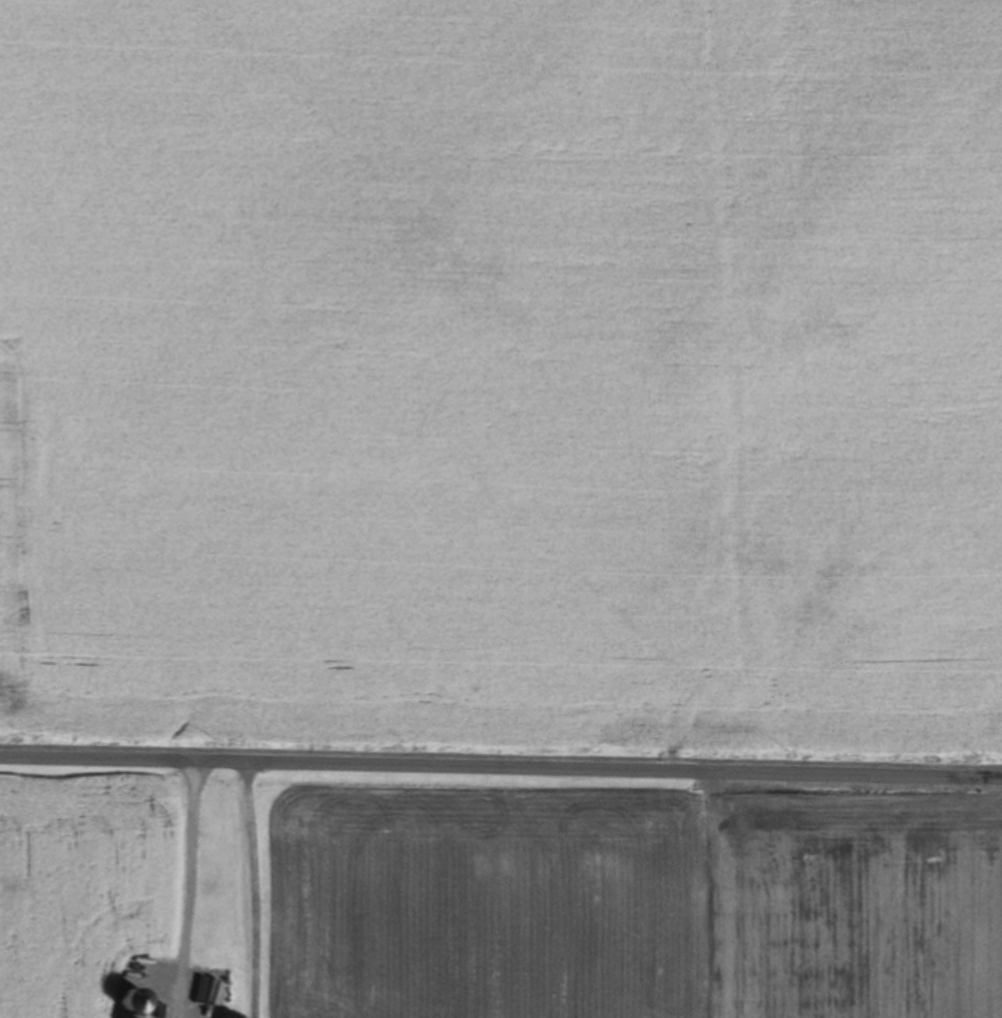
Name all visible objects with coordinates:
road: (500, 768)
road: (187, 890)
road: (252, 890)

